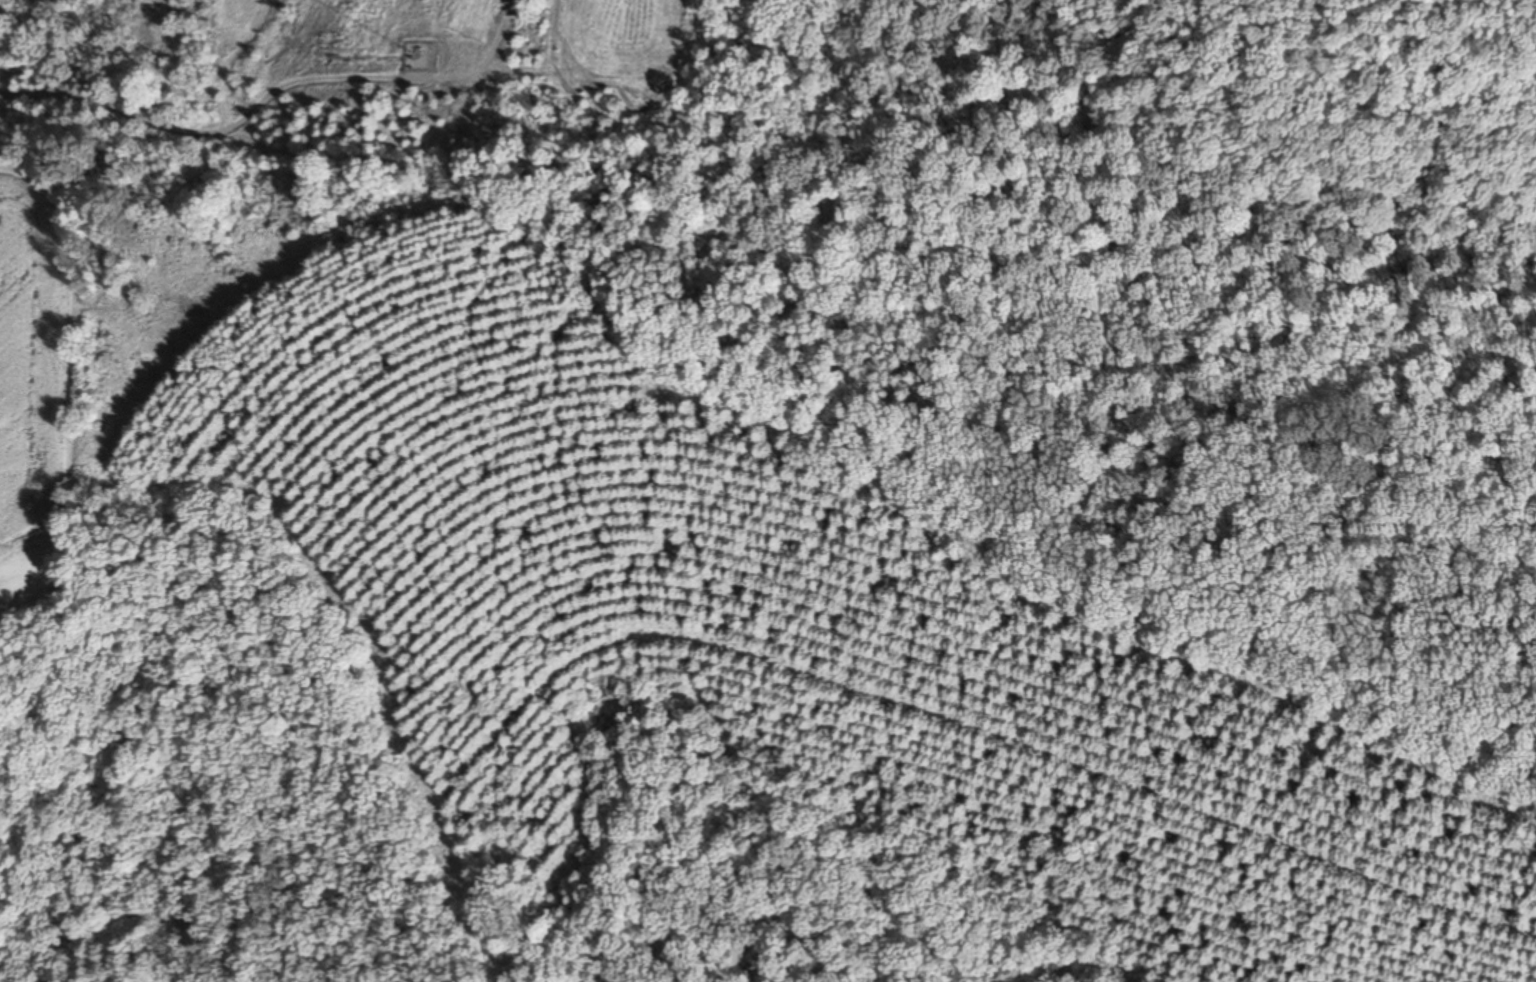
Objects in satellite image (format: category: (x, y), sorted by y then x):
road: (221, 130)

